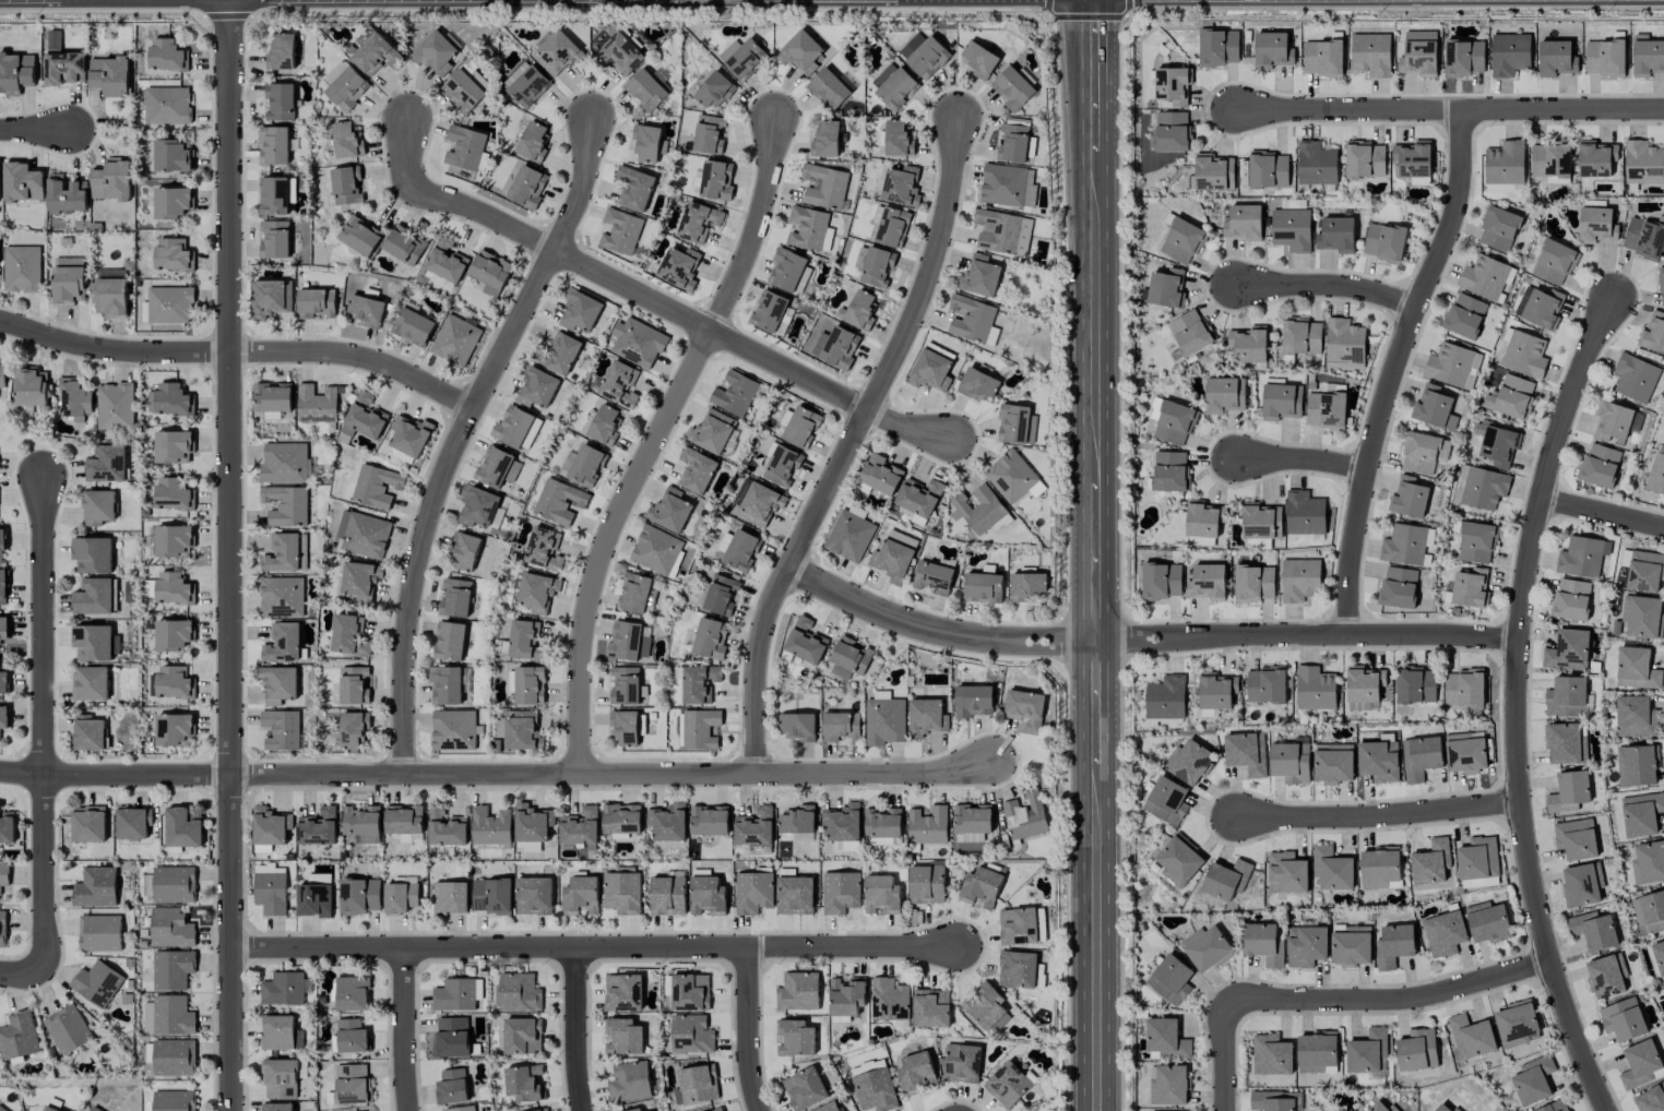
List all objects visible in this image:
traffic signals: (1089, 21)
building: (1219, 46)
building: (1272, 50)
building: (282, 52)
building: (373, 52)
building: (557, 52)
building: (801, 52)
building: (435, 53)
building: (620, 53)
building: (1509, 53)
building: (166, 55)
building: (924, 55)
building: (1370, 55)
building: (742, 57)
building: (1322, 58)
building: (1464, 58)
building: (1604, 58)
building: (1648, 58)
building: (1418, 59)
building: (1556, 59)
building: (978, 60)
building: (62, 62)
building: (15, 73)
road: (1089, 74)
building: (109, 75)
building: (479, 81)
building: (525, 84)
building: (344, 85)
building: (893, 85)
building: (1172, 85)
building: (1011, 88)
building: (645, 89)
building: (714, 89)
building: (828, 89)
building: (462, 91)
building: (280, 101)
building: (167, 106)
road: (1450, 111)
road: (35, 130)
building: (1172, 131)
building: (709, 134)
building: (898, 139)
building: (825, 140)
building: (1013, 140)
building: (347, 141)
building: (533, 142)
building: (646, 143)
building: (273, 145)
building: (464, 147)
building: (173, 156)
building: (1595, 158)
building: (1365, 159)
building: (1413, 162)
building: (1505, 163)
building: (1549, 163)
building: (1643, 163)
building: (1316, 164)
building: (1268, 170)
building: (1213, 172)
building: (111, 180)
building: (712, 180)
building: (22, 182)
building: (346, 184)
building: (1008, 186)
building: (527, 187)
building: (824, 187)
building: (901, 187)
building: (633, 188)
building: (275, 194)
building: (64, 195)
building: (171, 202)
building: (698, 222)
building: (1244, 223)
building: (1596, 225)
building: (892, 228)
building: (810, 229)
building: (1291, 229)
building: (1498, 229)
building: (1002, 231)
building: (620, 232)
building: (1335, 234)
building: (359, 236)
building: (1643, 238)
building: (275, 240)
building: (1181, 241)
building: (1383, 242)
building: (404, 244)
building: (173, 254)
building: (445, 261)
building: (68, 262)
building: (1554, 262)
building: (877, 266)
building: (21, 268)
building: (679, 268)
building: (787, 271)
building: (490, 272)
building: (979, 275)
building: (1485, 277)
road: (1329, 284)
building: (68, 285)
building: (1661, 287)
building: (1166, 288)
building: (110, 297)
building: (272, 297)
road: (651, 301)
building: (316, 303)
building: (169, 304)
building: (1540, 307)
building: (366, 310)
building: (858, 310)
building: (579, 311)
building: (769, 311)
road: (1094, 315)
building: (1464, 315)
building: (973, 320)
building: (412, 326)
building: (1190, 332)
building: (1653, 333)
building: (1302, 336)
building: (455, 341)
building: (1344, 342)
building: (637, 343)
building: (1249, 344)
building: (835, 347)
road: (111, 351)
building: (561, 353)
building: (1524, 355)
road: (357, 357)
building: (1452, 366)
road: (1394, 370)
building: (930, 371)
building: (2, 374)
building: (1635, 378)
building: (619, 384)
building: (977, 384)
building: (537, 386)
building: (31, 387)
building: (735, 394)
building: (1224, 395)
building: (1511, 396)
building: (272, 397)
building: (75, 398)
building: (173, 399)
building: (1281, 402)
building: (317, 404)
building: (115, 406)
building: (1435, 407)
building: (1326, 410)
building: (364, 417)
building: (1174, 422)
building: (1612, 422)
building: (1015, 423)
building: (604, 426)
building: (515, 427)
building: (801, 427)
building: (711, 431)
building: (1663, 431)
building: (409, 435)
road: (462, 437)
road: (654, 441)
building: (1497, 444)
building: (173, 446)
road: (849, 446)
building: (1422, 452)
road: (1303, 459)
building: (284, 463)
building: (106, 464)
building: (586, 465)
building: (1600, 465)
building: (782, 466)
building: (494, 467)
building: (696, 470)
building: (1169, 470)
building: (880, 475)
building: (1655, 476)
building: (1013, 478)
building: (376, 487)
building: (1481, 487)
building: (173, 494)
building: (919, 497)
building: (1409, 498)
building: (558, 501)
building: (754, 503)
building: (286, 505)
building: (477, 505)
building: (98, 506)
building: (978, 510)
building: (669, 511)
building: (1304, 513)
road: (1604, 513)
building: (1203, 518)
building: (1261, 522)
building: (362, 534)
building: (848, 536)
building: (173, 541)
building: (1203, 541)
building: (2, 542)
building: (724, 542)
building: (1476, 542)
building: (1403, 545)
building: (543, 549)
building: (655, 550)
building: (741, 550)
building: (464, 551)
building: (285, 553)
building: (92, 554)
road: (229, 555)
building: (1582, 557)
building: (892, 560)
road: (1097, 560)
building: (1644, 571)
building: (932, 577)
building: (1299, 580)
building: (360, 581)
building: (1162, 581)
building: (1207, 582)
building: (1255, 583)
building: (2, 586)
building: (1027, 586)
building: (1398, 587)
building: (1470, 587)
building: (173, 588)
building: (983, 588)
building: (536, 592)
building: (635, 593)
building: (721, 595)
building: (95, 596)
building: (281, 597)
building: (455, 598)
building: (1571, 599)
building: (1642, 617)
building: (3, 628)
road: (936, 632)
building: (173, 634)
building: (349, 635)
road: (1308, 635)
building: (522, 638)
building: (710, 638)
building: (449, 641)
building: (625, 641)
building: (805, 642)
building: (92, 643)
building: (282, 643)
building: (1568, 650)
building: (851, 656)
building: (1636, 668)
building: (3, 682)
building: (170, 682)
building: (90, 683)
building: (699, 683)
building: (1364, 683)
building: (277, 684)
building: (1265, 684)
building: (354, 685)
building: (445, 685)
building: (530, 685)
building: (625, 685)
building: (1416, 685)
building: (1463, 688)
building: (1315, 689)
building: (1216, 691)
building: (1166, 697)
building: (1567, 697)
building: (973, 701)
road: (1097, 704)
road: (1517, 705)
building: (1363, 706)
building: (1024, 708)
building: (3, 717)
building: (926, 717)
building: (1636, 717)
building: (884, 721)
road: (45, 726)
building: (840, 726)
building: (627, 727)
building: (797, 727)
building: (353, 728)
building: (281, 729)
building: (701, 729)
building: (174, 730)
building: (453, 730)
building: (516, 731)
building: (88, 732)
building: (1566, 743)
building: (1246, 753)
building: (1421, 757)
building: (1379, 761)
building: (1188, 762)
building: (1289, 762)
building: (1333, 763)
building: (1637, 765)
road: (611, 775)
road: (115, 776)
building: (1569, 791)
building: (1166, 801)
building: (1641, 813)
building: (1024, 816)
road: (1378, 817)
building: (403, 819)
building: (621, 819)
building: (972, 819)
building: (709, 820)
building: (797, 820)
building: (842, 822)
building: (132, 823)
building: (361, 823)
building: (532, 823)
building: (666, 823)
building: (882, 823)
building: (87, 824)
building: (928, 825)
building: (7, 826)
building: (270, 826)
building: (490, 826)
building: (580, 826)
building: (318, 827)
building: (754, 827)
building: (182, 828)
building: (445, 828)
building: (411, 837)
building: (1576, 839)
building: (883, 841)
building: (840, 847)
building: (1477, 858)
building: (1179, 861)
building: (1649, 863)
building: (1430, 864)
building: (1379, 867)
building: (1332, 869)
building: (1286, 873)
building: (4, 874)
building: (320, 879)
building: (1226, 880)
building: (926, 882)
building: (174, 884)
building: (1582, 885)
building: (96, 887)
building: (980, 888)
building: (752, 892)
building: (840, 892)
building: (271, 893)
building: (621, 893)
building: (795, 895)
building: (881, 895)
building: (360, 896)
building: (491, 896)
building: (533, 896)
building: (580, 896)
building: (666, 896)
building: (706, 896)
building: (400, 897)
building: (450, 897)
building: (313, 900)
building: (1653, 911)
building: (1639, 917)
building: (1487, 922)
building: (1021, 925)
building: (2, 928)
building: (170, 928)
building: (1594, 931)
building: (99, 933)
building: (1445, 933)
road: (1096, 940)
building: (1263, 944)
building: (1351, 945)
building: (1393, 945)
road: (594, 946)
building: (1306, 946)
building: (1205, 947)
building: (1660, 957)
building: (171, 969)
building: (1017, 969)
road: (22, 971)
building: (1606, 977)
building: (1170, 979)
building: (97, 983)
building: (285, 989)
building: (518, 992)
building: (690, 992)
building: (798, 992)
building: (352, 993)
building: (622, 993)
building: (457, 994)
building: (846, 996)
building: (889, 1000)
road: (1390, 1001)
building: (931, 1008)
building: (986, 1008)
building: (173, 1015)
building: (146, 1017)
building: (1623, 1019)
building: (1516, 1024)
road: (578, 1028)
building: (68, 1029)
road: (405, 1029)
road: (748, 1029)
building: (281, 1032)
building: (691, 1034)
building: (19, 1036)
building: (352, 1036)
building: (522, 1036)
building: (451, 1037)
building: (623, 1037)
building: (1471, 1037)
building: (794, 1038)
building: (1166, 1039)
building: (1417, 1050)
building: (1317, 1052)
building: (1367, 1052)
road: (1224, 1055)
building: (1271, 1055)
building: (174, 1058)
building: (961, 1063)
building: (1641, 1065)
building: (867, 1066)
building: (916, 1071)
building: (280, 1078)
building: (1533, 1080)
building: (629, 1082)
building: (523, 1083)
building: (350, 1084)
building: (698, 1084)
building: (1007, 1085)
building: (451, 1086)
building: (1168, 1086)
building: (804, 1089)
building: (875, 1090)
building: (1651, 1099)
building: (174, 1101)
building: (1270, 1101)
building: (277, 1107)
building: (829, 1107)
building: (1379, 1107)
building: (1443, 1107)
building: (1554, 1107)
building: (1, 1109)
building: (48, 1109)
building: (93, 1109)
building: (460, 1109)
building: (543, 1110)
building: (635, 1110)
building: (718, 1110)

